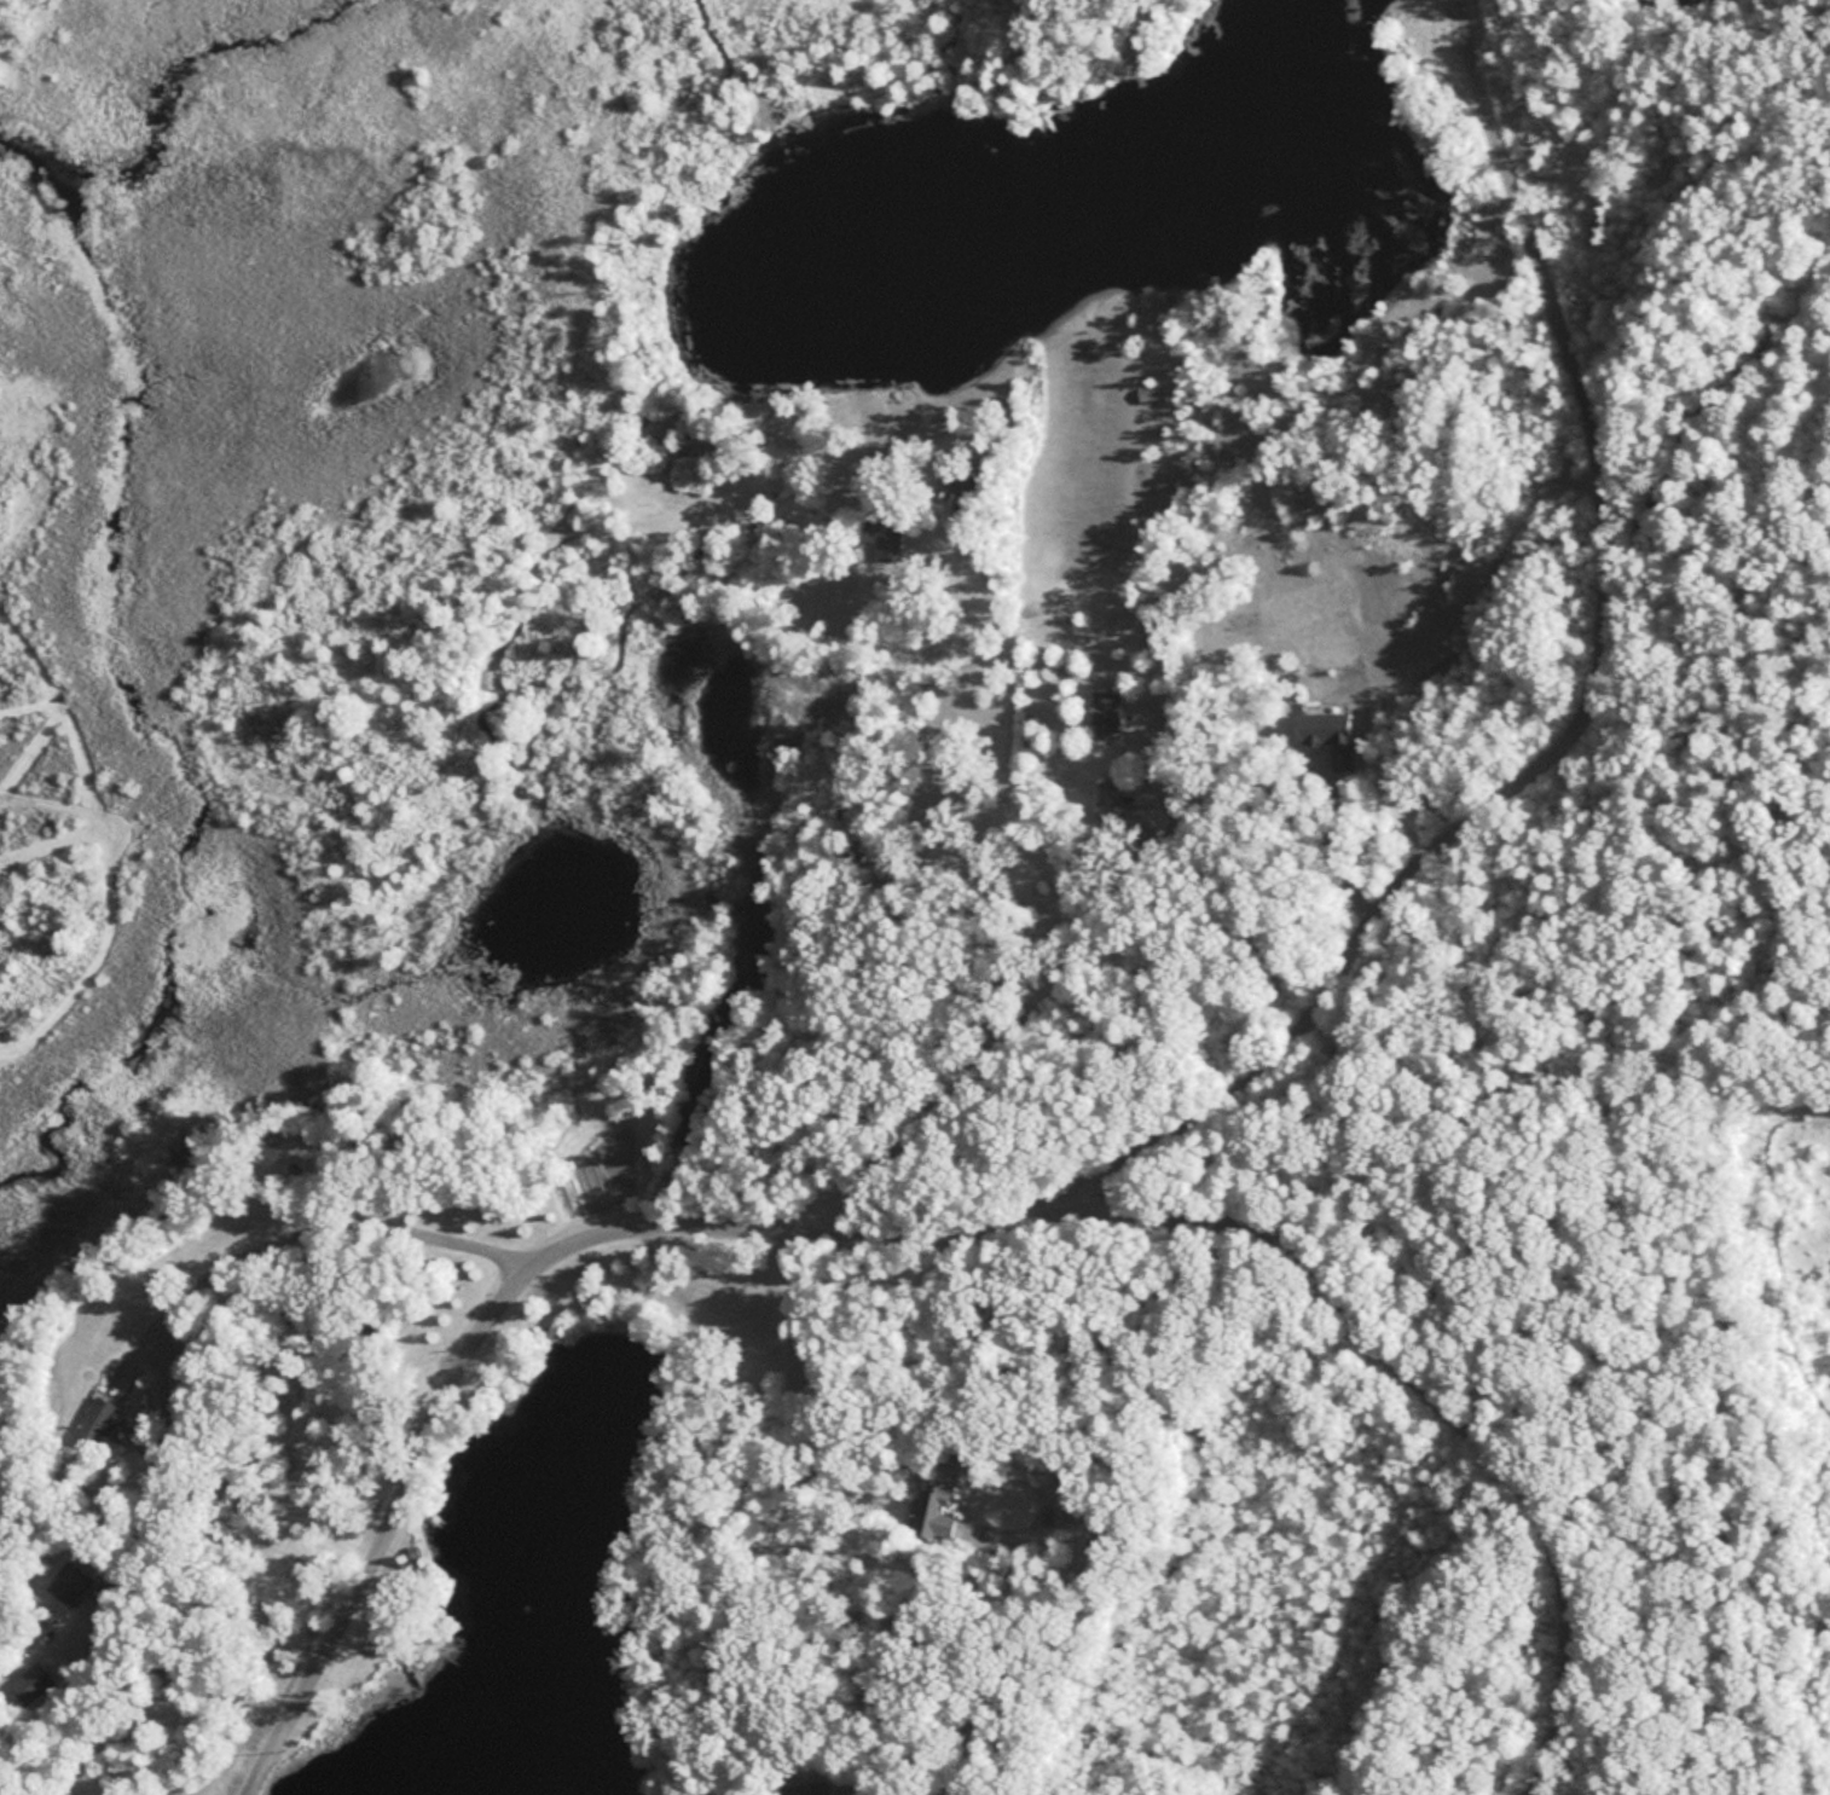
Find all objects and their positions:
building: (1148, 393)
road: (1600, 509)
building: (874, 526)
building: (1105, 713)
building: (1106, 799)
road: (1240, 1105)
road: (739, 1214)
road: (1361, 1286)
building: (98, 1419)
building: (938, 1486)
building: (71, 1580)
building: (37, 1678)
building: (804, 1789)

